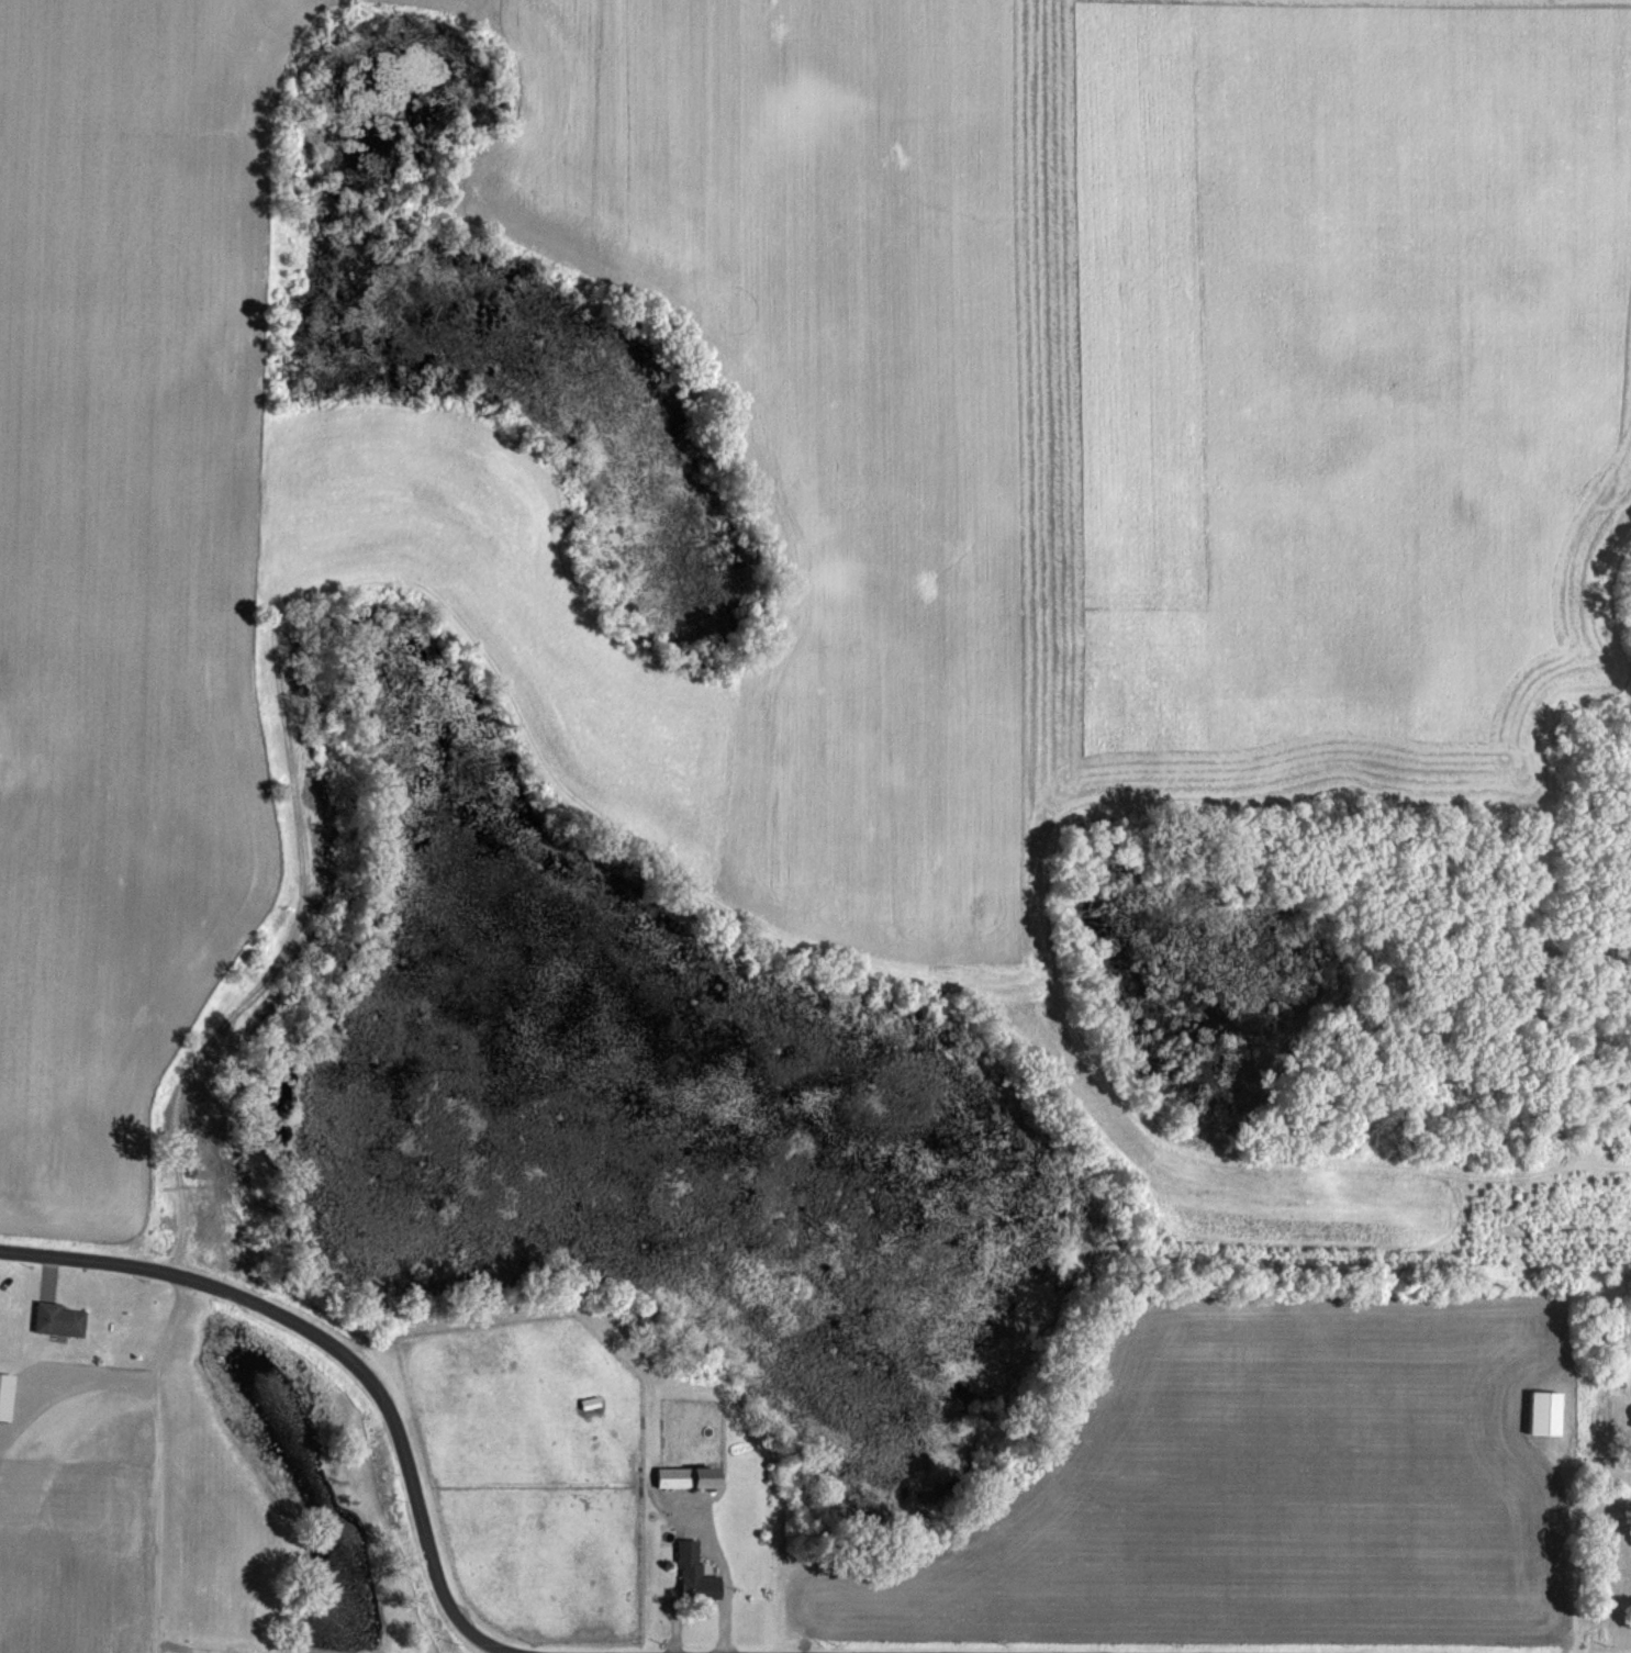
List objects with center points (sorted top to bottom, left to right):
building: (59, 1319)
road: (344, 1352)
building: (5, 1395)
building: (1549, 1412)
building: (692, 1477)
building: (699, 1574)

